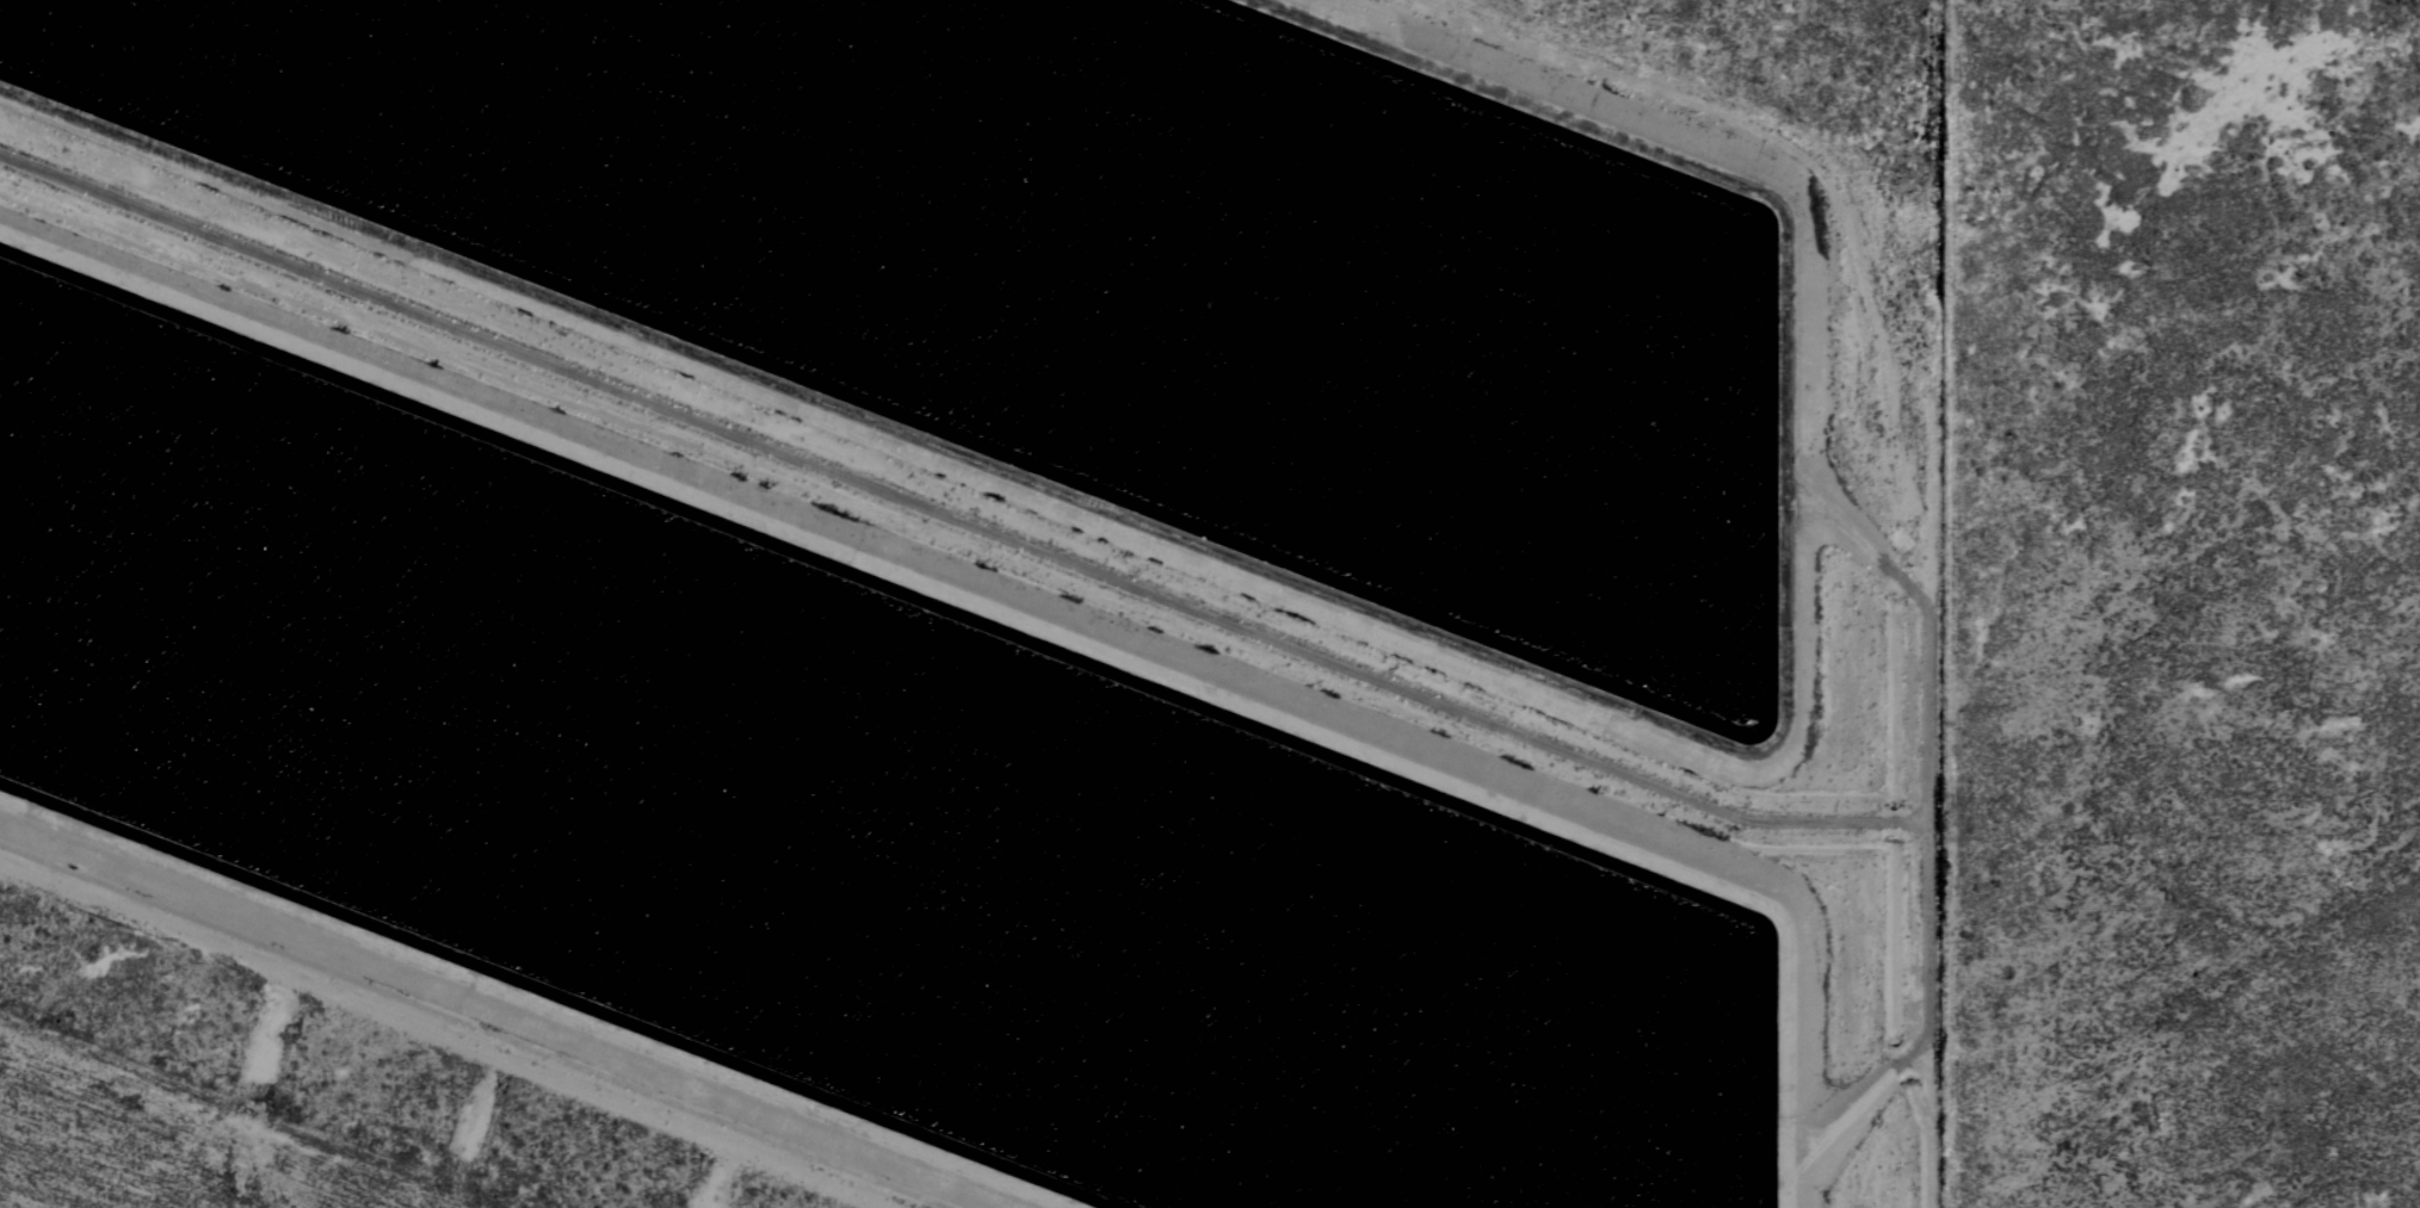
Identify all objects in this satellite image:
wastewater plant: (950, 565)

